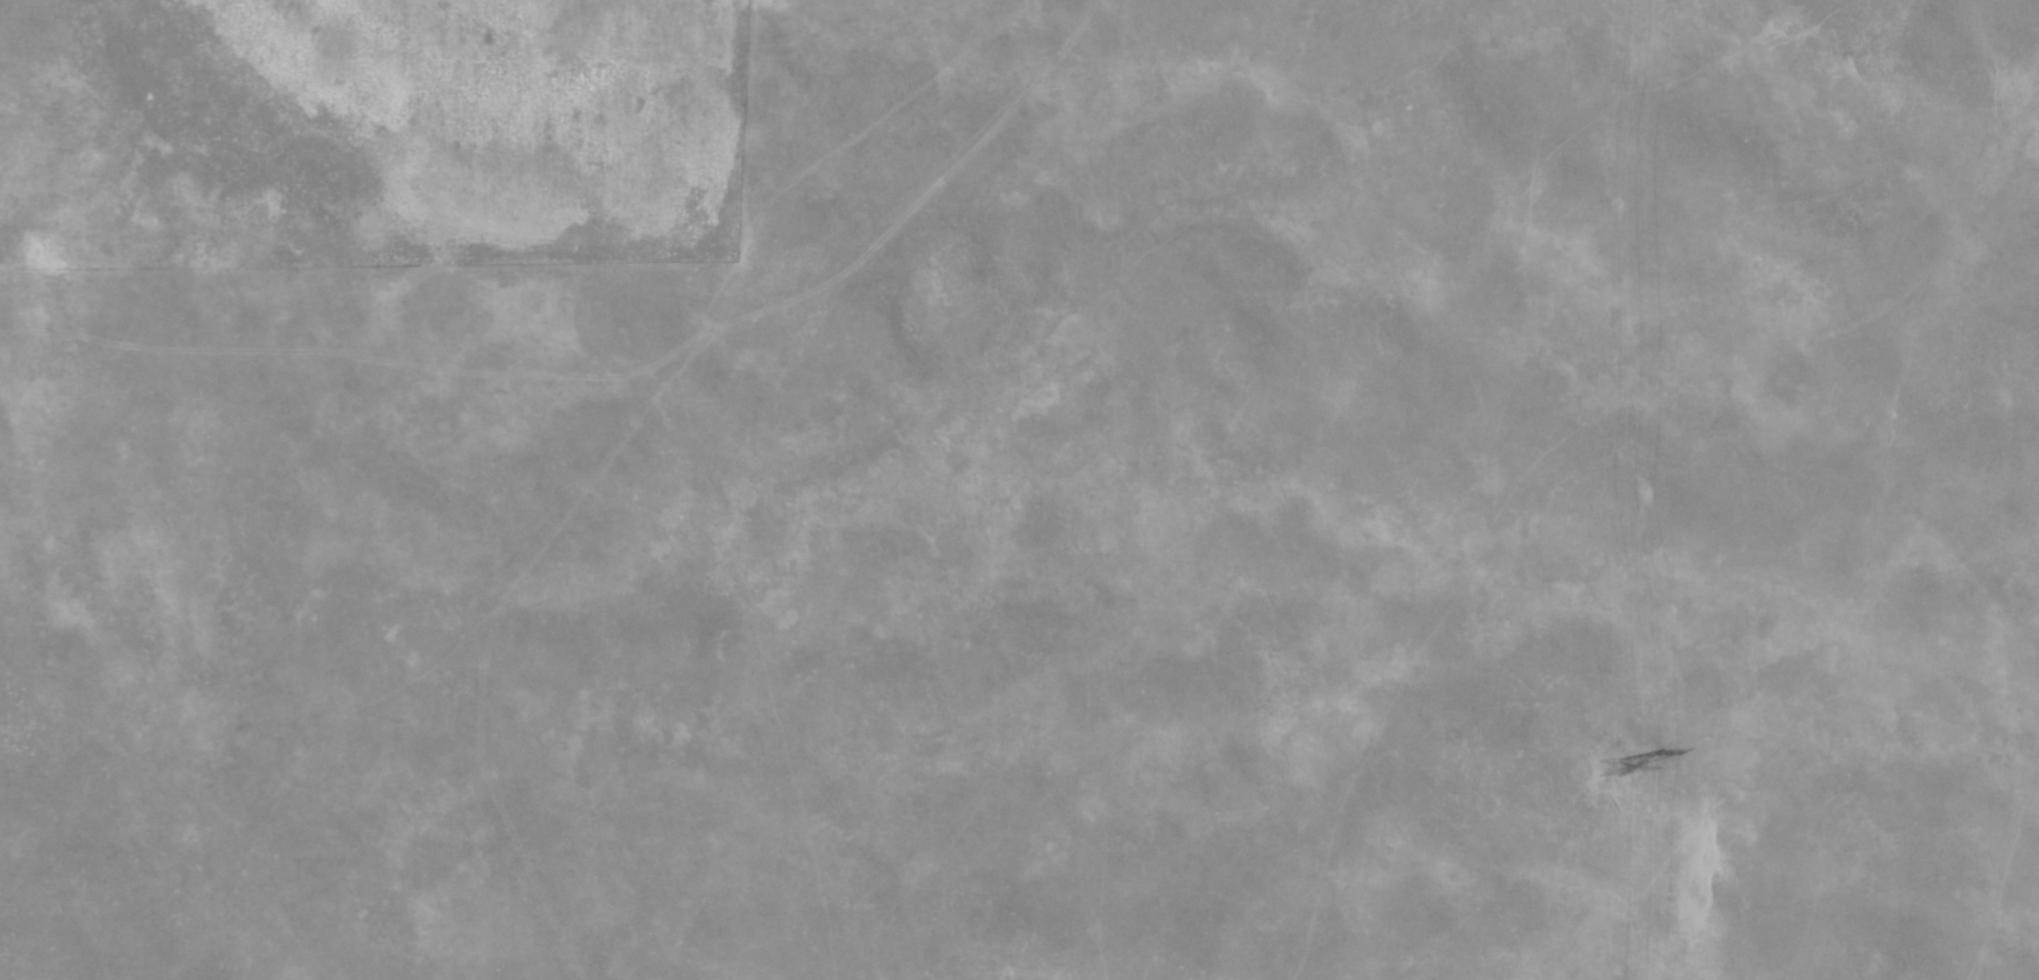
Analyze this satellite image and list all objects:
power tower: (1607, 769)

